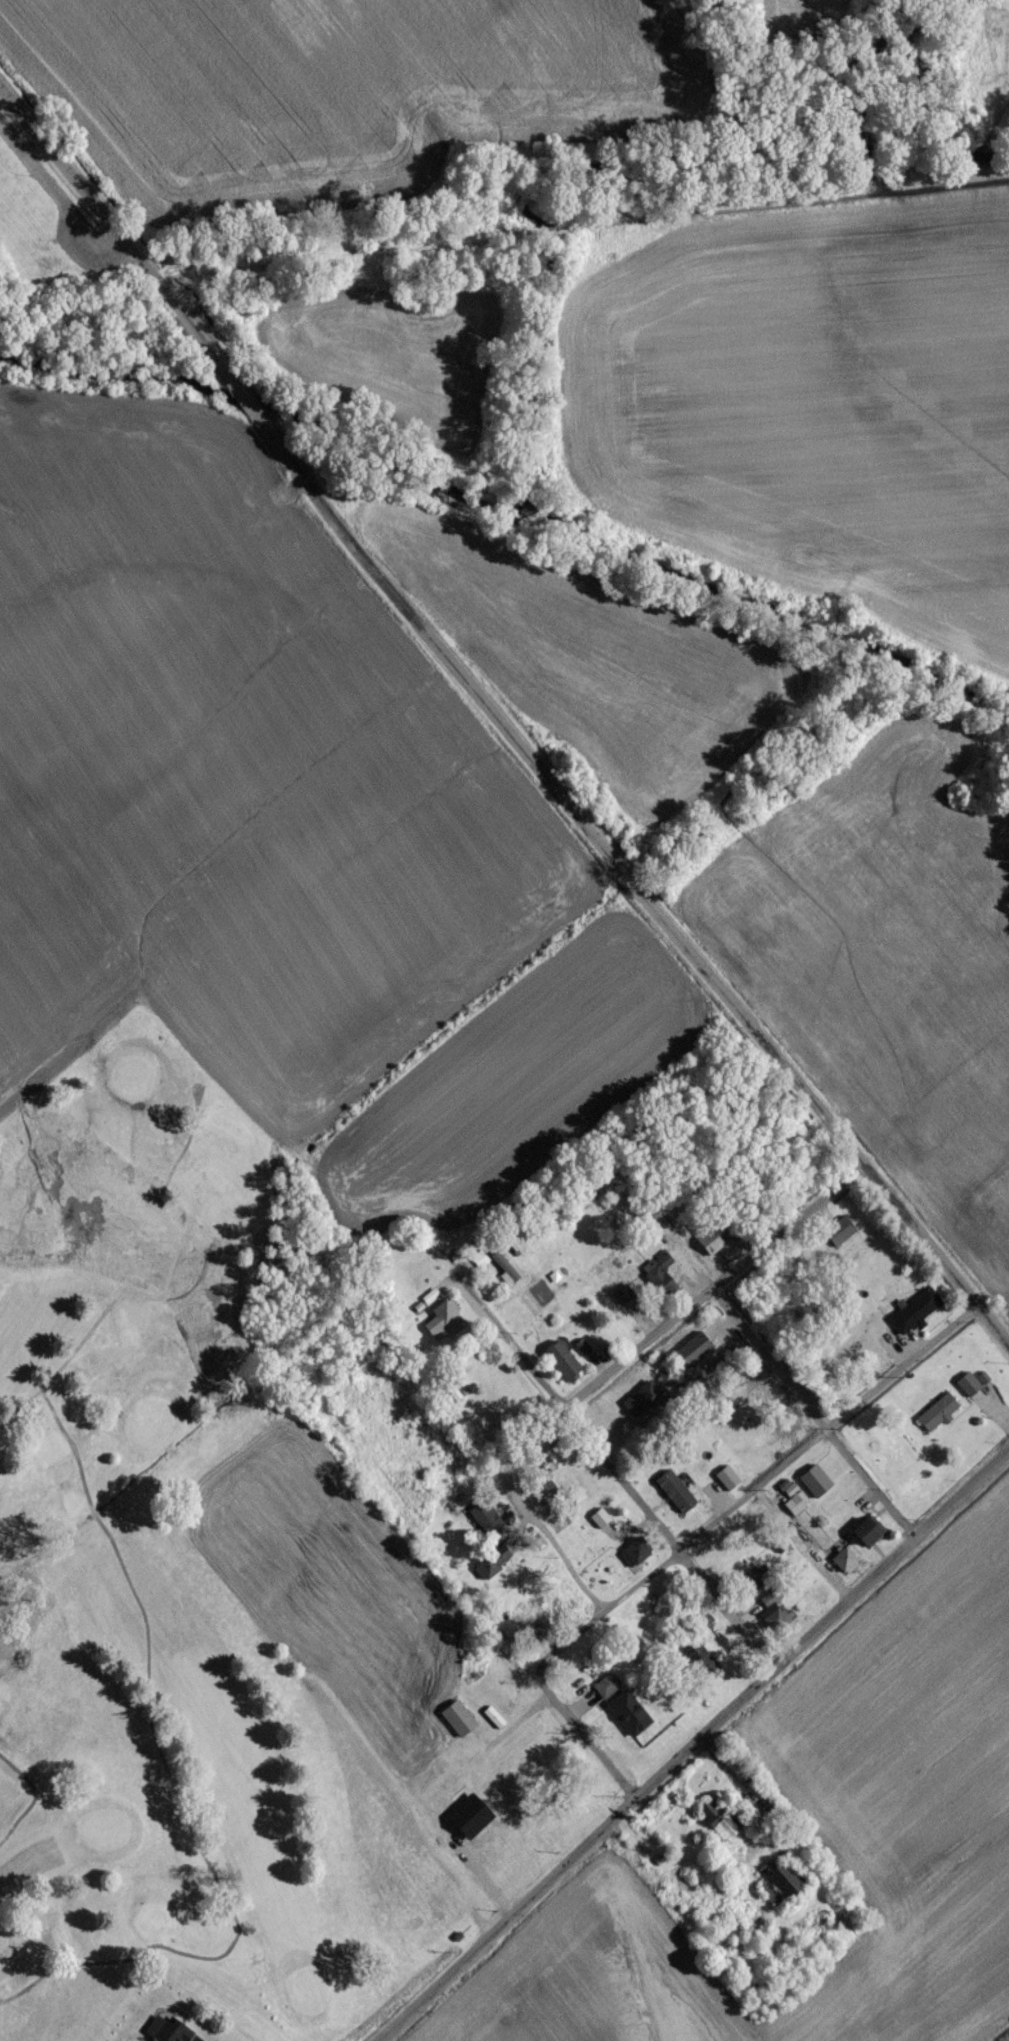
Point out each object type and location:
road: (498, 727)
road: (195, 1091)
building: (837, 1239)
building: (706, 1246)
road: (205, 1282)
building: (657, 1282)
building: (623, 1299)
road: (171, 1304)
building: (913, 1318)
road: (510, 1351)
building: (689, 1358)
building: (559, 1368)
road: (610, 1368)
building: (966, 1391)
road: (812, 1412)
building: (936, 1420)
road: (71, 1451)
building: (551, 1465)
building: (724, 1485)
road: (753, 1490)
building: (793, 1511)
building: (553, 1520)
building: (599, 1522)
building: (484, 1527)
road: (672, 1537)
building: (866, 1538)
road: (805, 1542)
building: (636, 1555)
building: (842, 1566)
park: (319, 1578)
building: (746, 1590)
building: (772, 1617)
building: (699, 1628)
building: (698, 1665)
building: (604, 1691)
building: (627, 1716)
building: (456, 1723)
road: (588, 1740)
road: (695, 1745)
road: (35, 1803)
building: (717, 1826)
building: (456, 1851)
road: (200, 1856)
building: (487, 1858)
building: (779, 1889)
building: (165, 2032)

